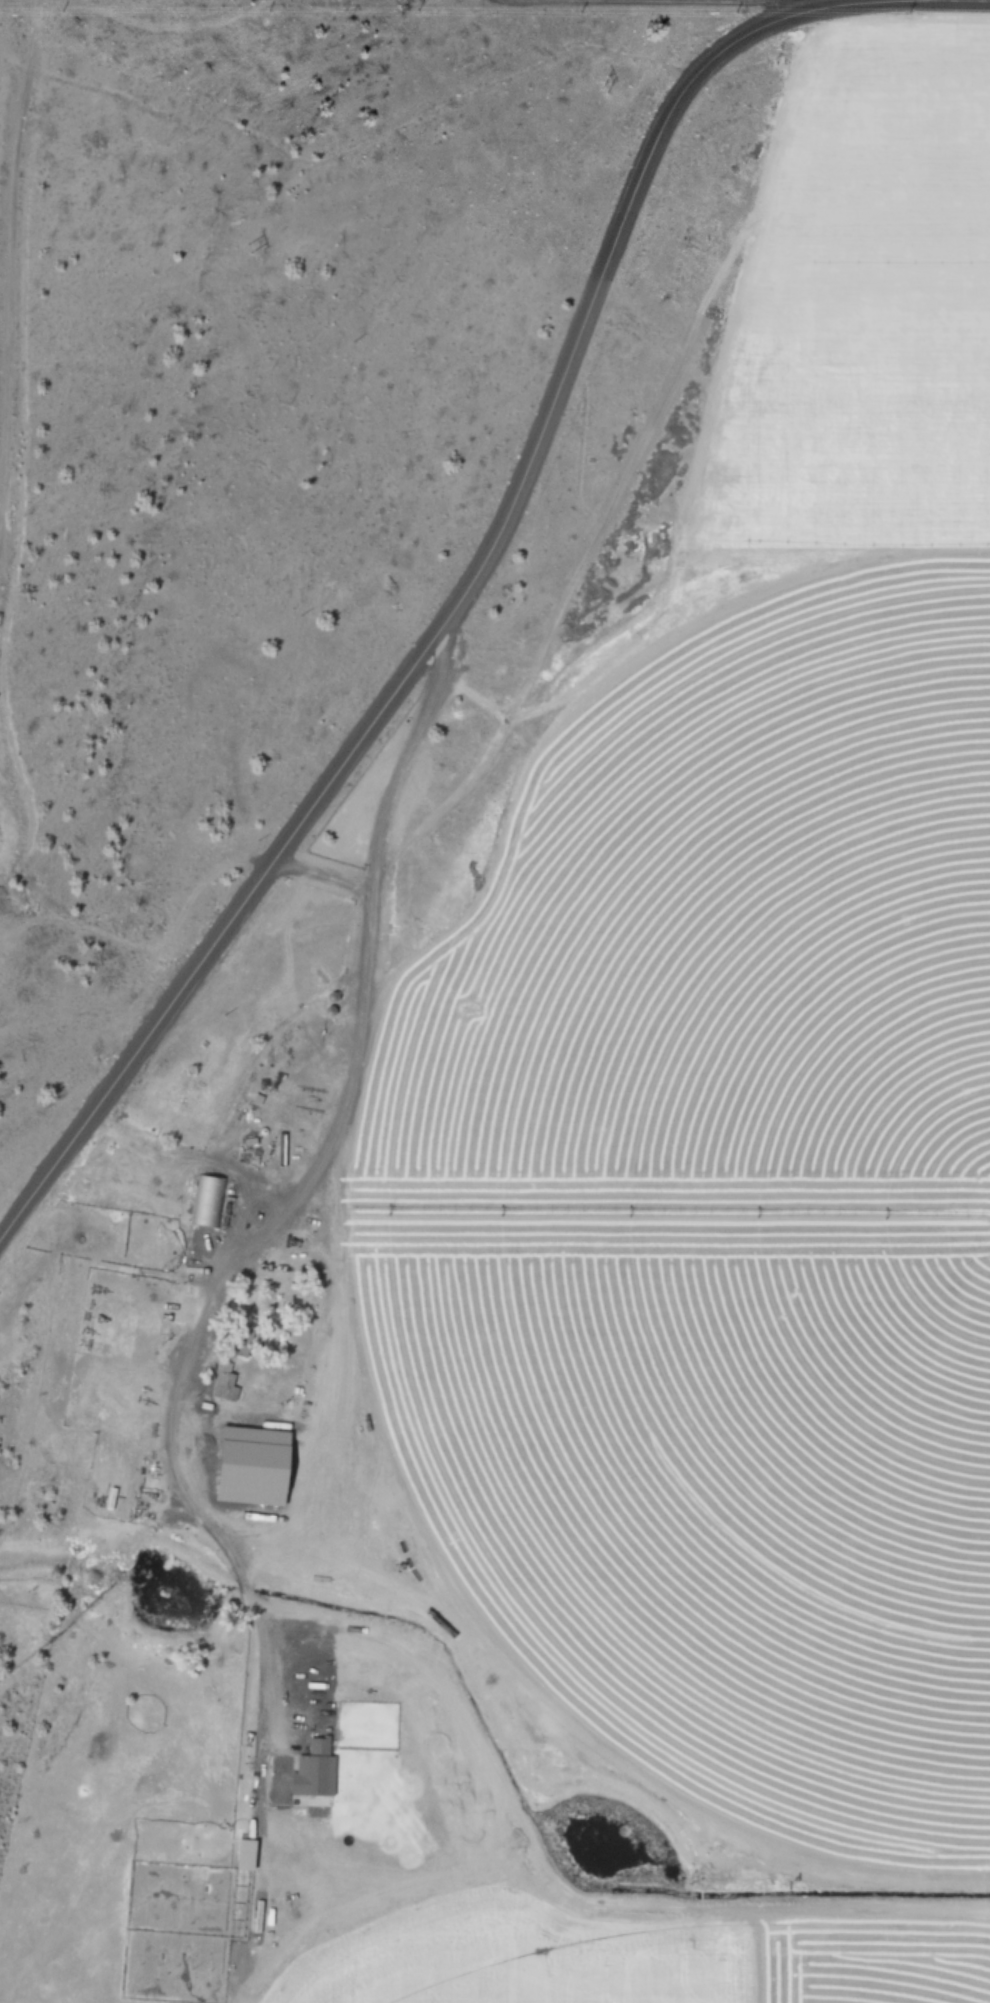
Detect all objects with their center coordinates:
road: (741, 0)
road: (11, 251)
road: (453, 598)
road: (318, 875)
road: (361, 998)
road: (188, 1163)
building: (204, 1200)
crop: (722, 1209)
building: (225, 1385)
building: (237, 1464)
building: (149, 1484)
building: (300, 1761)
building: (246, 1854)
crop: (709, 1958)

